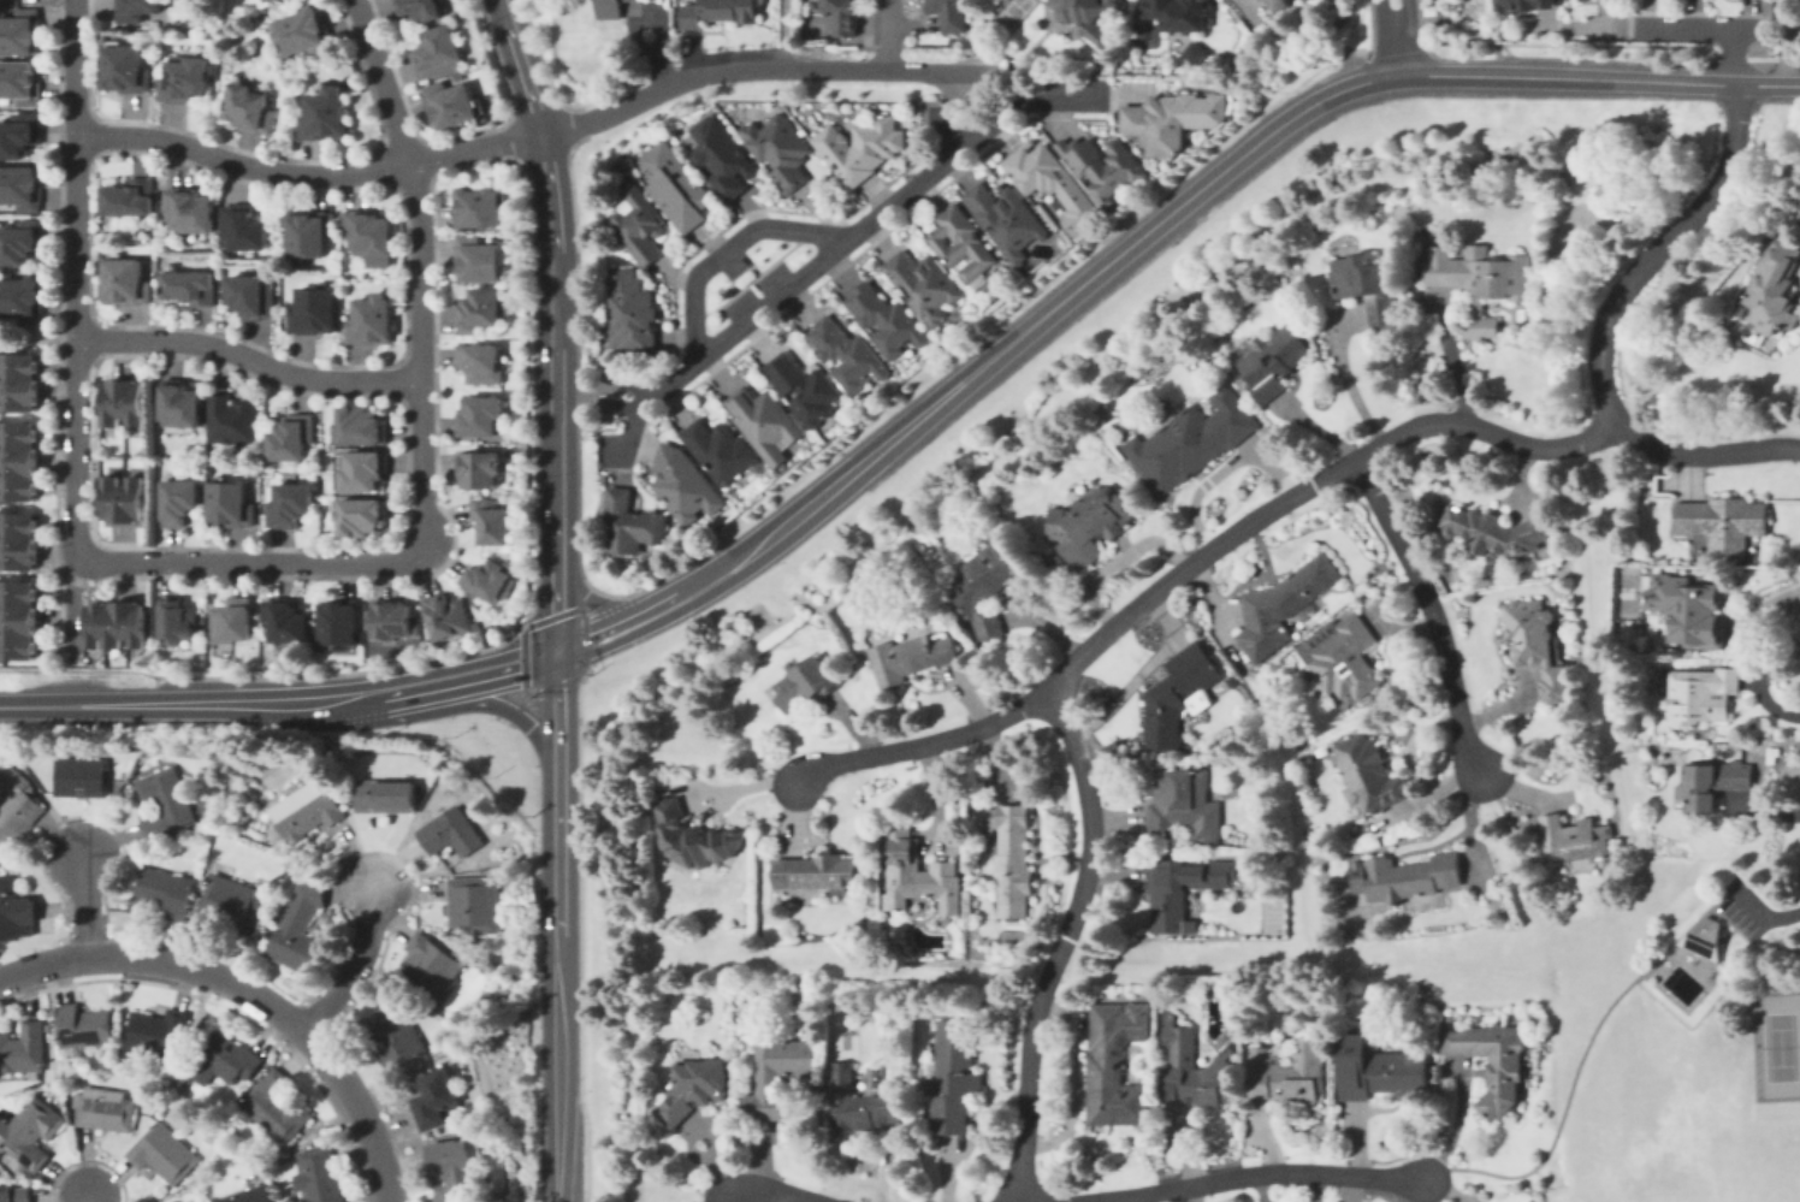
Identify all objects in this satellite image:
building: (266, 0)
building: (276, 0)
building: (1530, 4)
building: (1280, 5)
building: (614, 7)
building: (137, 8)
building: (424, 8)
building: (720, 11)
park: (1012, 13)
building: (949, 14)
building: (1180, 14)
building: (841, 16)
building: (1088, 17)
park: (541, 23)
building: (308, 28)
road: (1698, 28)
building: (19, 32)
road: (780, 35)
road: (888, 35)
road: (1396, 37)
road: (1784, 42)
building: (442, 49)
building: (1194, 54)
road: (1730, 57)
building: (128, 67)
road: (794, 70)
building: (189, 78)
road: (1598, 79)
building: (19, 83)
road: (954, 85)
building: (454, 102)
road: (1065, 103)
building: (255, 108)
building: (326, 116)
building: (1171, 119)
road: (955, 126)
building: (23, 132)
building: (860, 147)
building: (782, 152)
building: (722, 159)
building: (1105, 167)
road: (337, 173)
building: (1053, 182)
building: (20, 186)
building: (129, 199)
building: (663, 203)
building: (481, 207)
building: (193, 208)
road: (1170, 213)
building: (1028, 223)
building: (242, 227)
building: (310, 233)
building: (371, 233)
building: (961, 242)
building: (23, 243)
road: (836, 247)
road: (728, 249)
parking lot: (729, 260)
building: (479, 261)
road: (418, 270)
road: (557, 276)
building: (126, 280)
building: (1481, 282)
building: (924, 283)
building: (189, 285)
building: (1774, 288)
building: (1364, 289)
building: (254, 296)
parking lot: (762, 298)
building: (22, 300)
building: (314, 310)
building: (482, 310)
building: (632, 313)
building: (372, 320)
building: (888, 320)
road: (1601, 328)
road: (78, 330)
road: (39, 337)
building: (846, 354)
road: (249, 357)
building: (1272, 360)
building: (481, 363)
road: (1344, 377)
building: (20, 381)
road: (586, 385)
road: (632, 386)
building: (804, 389)
road: (633, 403)
building: (129, 404)
building: (185, 404)
road: (586, 404)
building: (235, 418)
building: (480, 418)
building: (765, 421)
building: (365, 425)
road: (633, 427)
building: (296, 438)
building: (1191, 443)
parking lot: (618, 450)
building: (720, 450)
building: (19, 461)
building: (479, 469)
building: (367, 472)
building: (685, 484)
building: (184, 498)
building: (128, 499)
building: (233, 502)
building: (295, 504)
road: (805, 508)
building: (365, 517)
building: (492, 521)
building: (633, 522)
building: (1723, 522)
building: (1095, 525)
building: (1496, 529)
building: (19, 543)
road: (248, 561)
building: (489, 582)
building: (985, 587)
park: (1628, 594)
road: (590, 598)
road: (557, 605)
building: (1284, 606)
road: (1434, 610)
building: (1684, 611)
building: (448, 615)
building: (22, 618)
building: (179, 620)
building: (392, 620)
building: (233, 621)
building: (339, 622)
building: (294, 624)
building: (120, 627)
road: (599, 634)
road: (1093, 645)
building: (1538, 645)
traffic signals: (559, 651)
building: (910, 658)
building: (1344, 658)
road: (501, 669)
road: (61, 677)
building: (804, 683)
building: (1179, 694)
building: (1703, 695)
road: (343, 697)
road: (153, 704)
road: (30, 706)
road: (559, 706)
road: (509, 710)
road: (922, 746)
building: (78, 774)
building: (1370, 774)
building: (1712, 783)
building: (381, 793)
building: (162, 803)
building: (16, 804)
building: (303, 809)
building: (1188, 810)
building: (988, 818)
building: (446, 830)
building: (693, 837)
building: (1574, 840)
building: (1016, 854)
building: (818, 872)
building: (919, 875)
building: (1408, 878)
building: (1184, 887)
building: (161, 889)
building: (227, 901)
road: (1743, 901)
building: (470, 904)
road: (85, 905)
parking lot: (1743, 906)
building: (13, 911)
road: (1780, 913)
building: (297, 931)
building: (1704, 938)
road: (162, 960)
building: (430, 960)
road: (356, 966)
road: (1705, 981)
road: (558, 982)
building: (1168, 1018)
building: (81, 1023)
building: (154, 1030)
building: (391, 1034)
park: (846, 1044)
building: (22, 1046)
park: (1778, 1046)
building: (119, 1049)
building: (220, 1058)
road: (1576, 1060)
building: (97, 1061)
building: (1117, 1066)
building: (1197, 1071)
building: (1379, 1071)
building: (780, 1072)
building: (955, 1074)
building: (1290, 1074)
building: (1505, 1082)
building: (697, 1090)
building: (433, 1097)
building: (859, 1101)
building: (274, 1103)
building: (102, 1107)
road: (357, 1113)
road: (1451, 1127)
building: (28, 1129)
building: (160, 1150)
building: (450, 1161)
road: (1247, 1173)
building: (316, 1174)
road: (775, 1191)
building: (14, 1194)
building: (244, 1194)
road: (84, 1198)
road: (1024, 1200)
building: (196, 1201)

